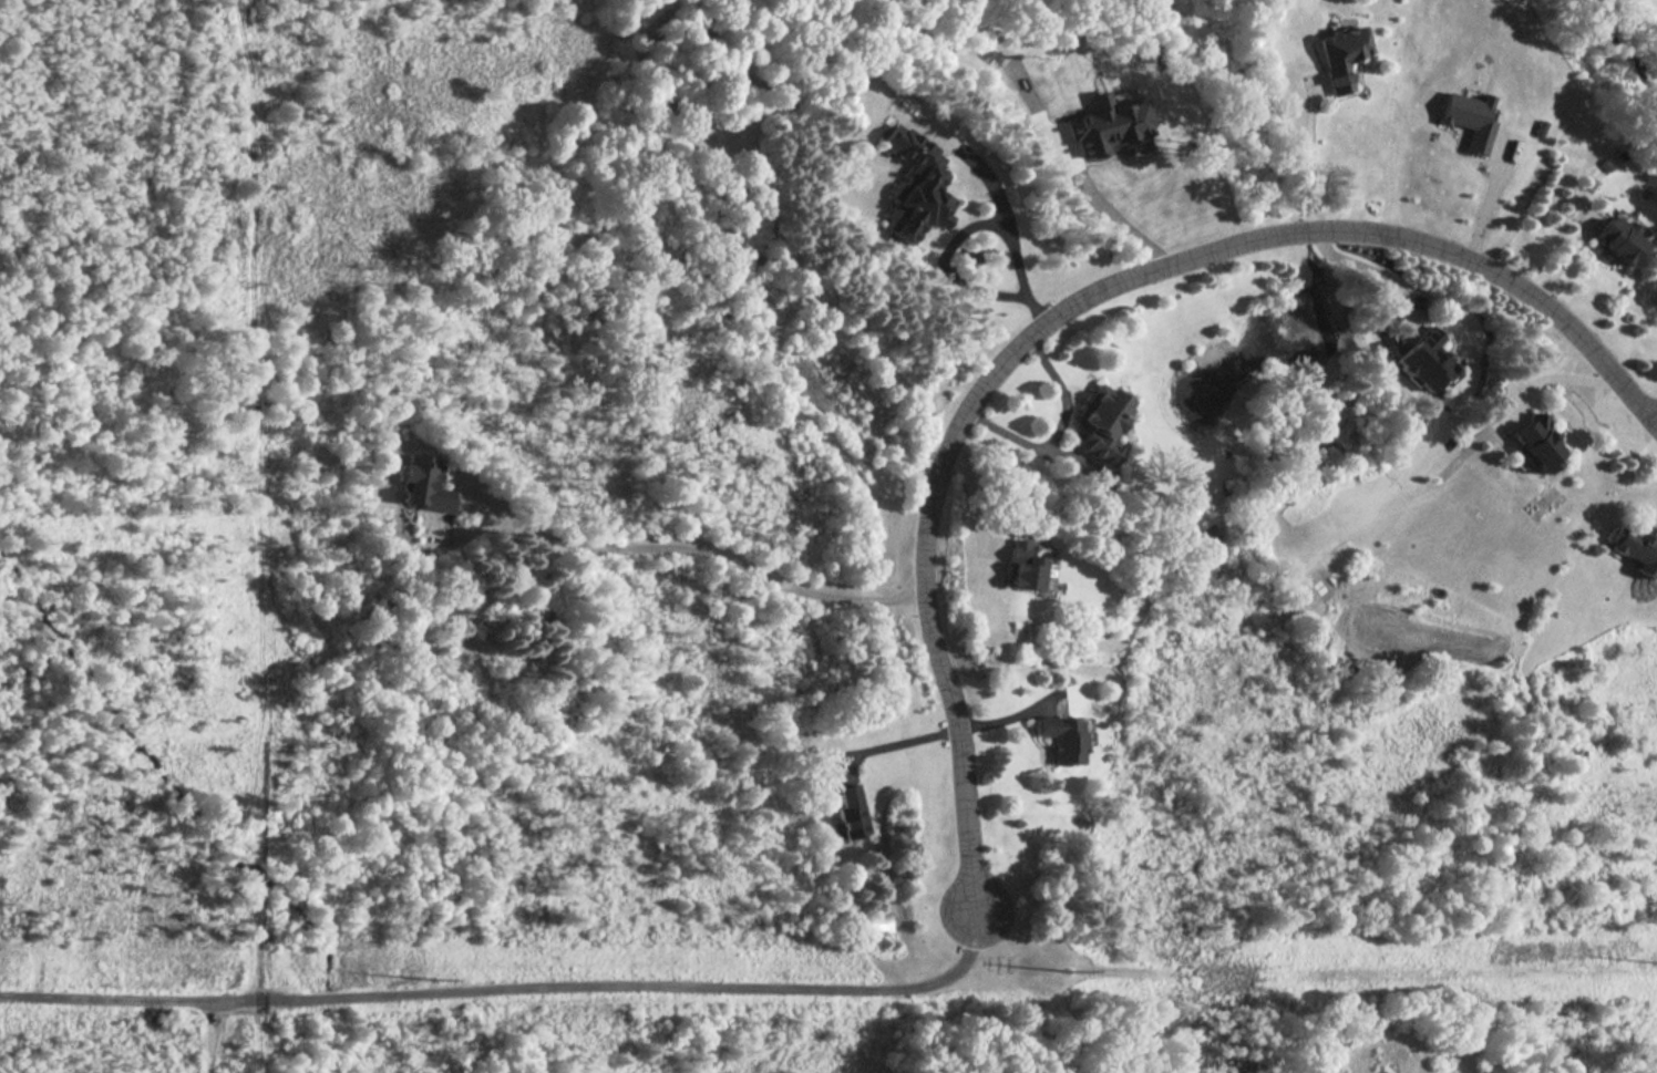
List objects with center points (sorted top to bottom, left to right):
building: (1342, 54)
building: (1469, 118)
building: (1108, 125)
road: (1307, 161)
building: (916, 185)
road: (1486, 200)
road: (1107, 207)
road: (969, 225)
building: (1619, 236)
road: (1360, 262)
road: (1069, 308)
building: (1422, 359)
road: (1560, 378)
building: (1101, 421)
road: (1058, 431)
building: (1532, 441)
building: (424, 484)
road: (690, 548)
building: (1637, 548)
building: (1023, 567)
building: (1063, 739)
road: (903, 741)
building: (852, 812)
power tower: (1052, 968)
power tower: (425, 979)
road: (506, 993)

